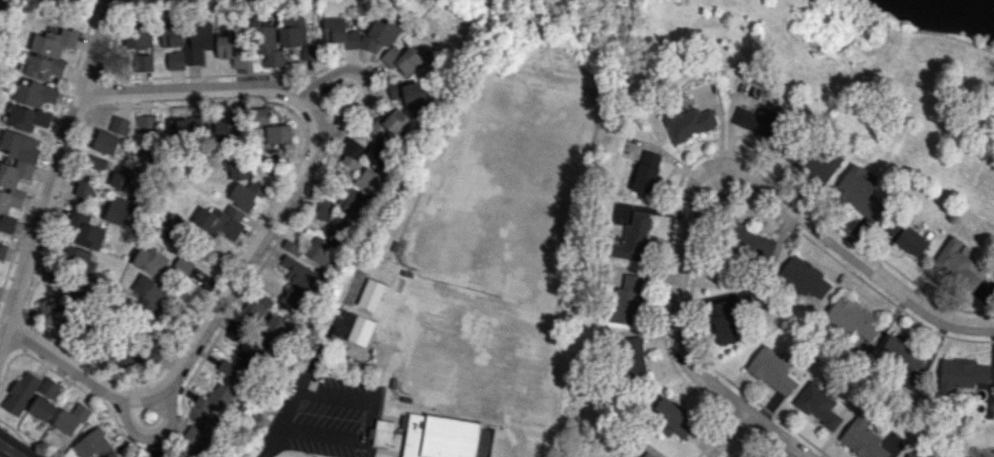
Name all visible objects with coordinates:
building: (359, 33)
building: (172, 34)
building: (294, 35)
building: (198, 42)
building: (265, 43)
building: (231, 51)
building: (49, 54)
building: (400, 59)
building: (175, 60)
building: (144, 62)
road: (361, 77)
road: (202, 89)
building: (36, 93)
building: (410, 94)
building: (258, 116)
building: (27, 117)
building: (757, 120)
building: (688, 123)
building: (224, 127)
building: (277, 134)
building: (111, 135)
building: (387, 135)
building: (20, 145)
building: (351, 152)
building: (97, 163)
building: (646, 172)
road: (56, 174)
building: (128, 179)
building: (369, 181)
building: (242, 185)
building: (84, 189)
building: (12, 190)
building: (859, 192)
building: (351, 202)
building: (120, 209)
building: (223, 221)
building: (171, 229)
building: (335, 229)
building: (85, 230)
building: (906, 236)
building: (633, 238)
building: (756, 244)
building: (291, 247)
building: (319, 249)
building: (2, 253)
road: (855, 253)
building: (78, 258)
building: (149, 261)
building: (956, 263)
building: (182, 266)
building: (298, 272)
building: (53, 276)
building: (804, 278)
building: (146, 291)
building: (370, 294)
building: (291, 299)
building: (627, 300)
building: (255, 305)
building: (55, 314)
building: (852, 318)
building: (722, 321)
building: (352, 327)
building: (275, 328)
road: (675, 329)
road: (202, 330)
building: (246, 340)
building: (138, 351)
road: (315, 352)
building: (903, 352)
building: (633, 356)
building: (231, 370)
building: (771, 370)
building: (961, 373)
building: (48, 388)
building: (21, 393)
building: (217, 399)
road: (367, 404)
building: (818, 405)
building: (42, 407)
building: (70, 419)
building: (672, 419)
road: (153, 433)
building: (204, 433)
building: (381, 433)
road: (731, 435)
building: (444, 437)
building: (862, 437)
building: (92, 443)
road: (269, 443)
road: (9, 450)
building: (648, 454)
building: (917, 455)

